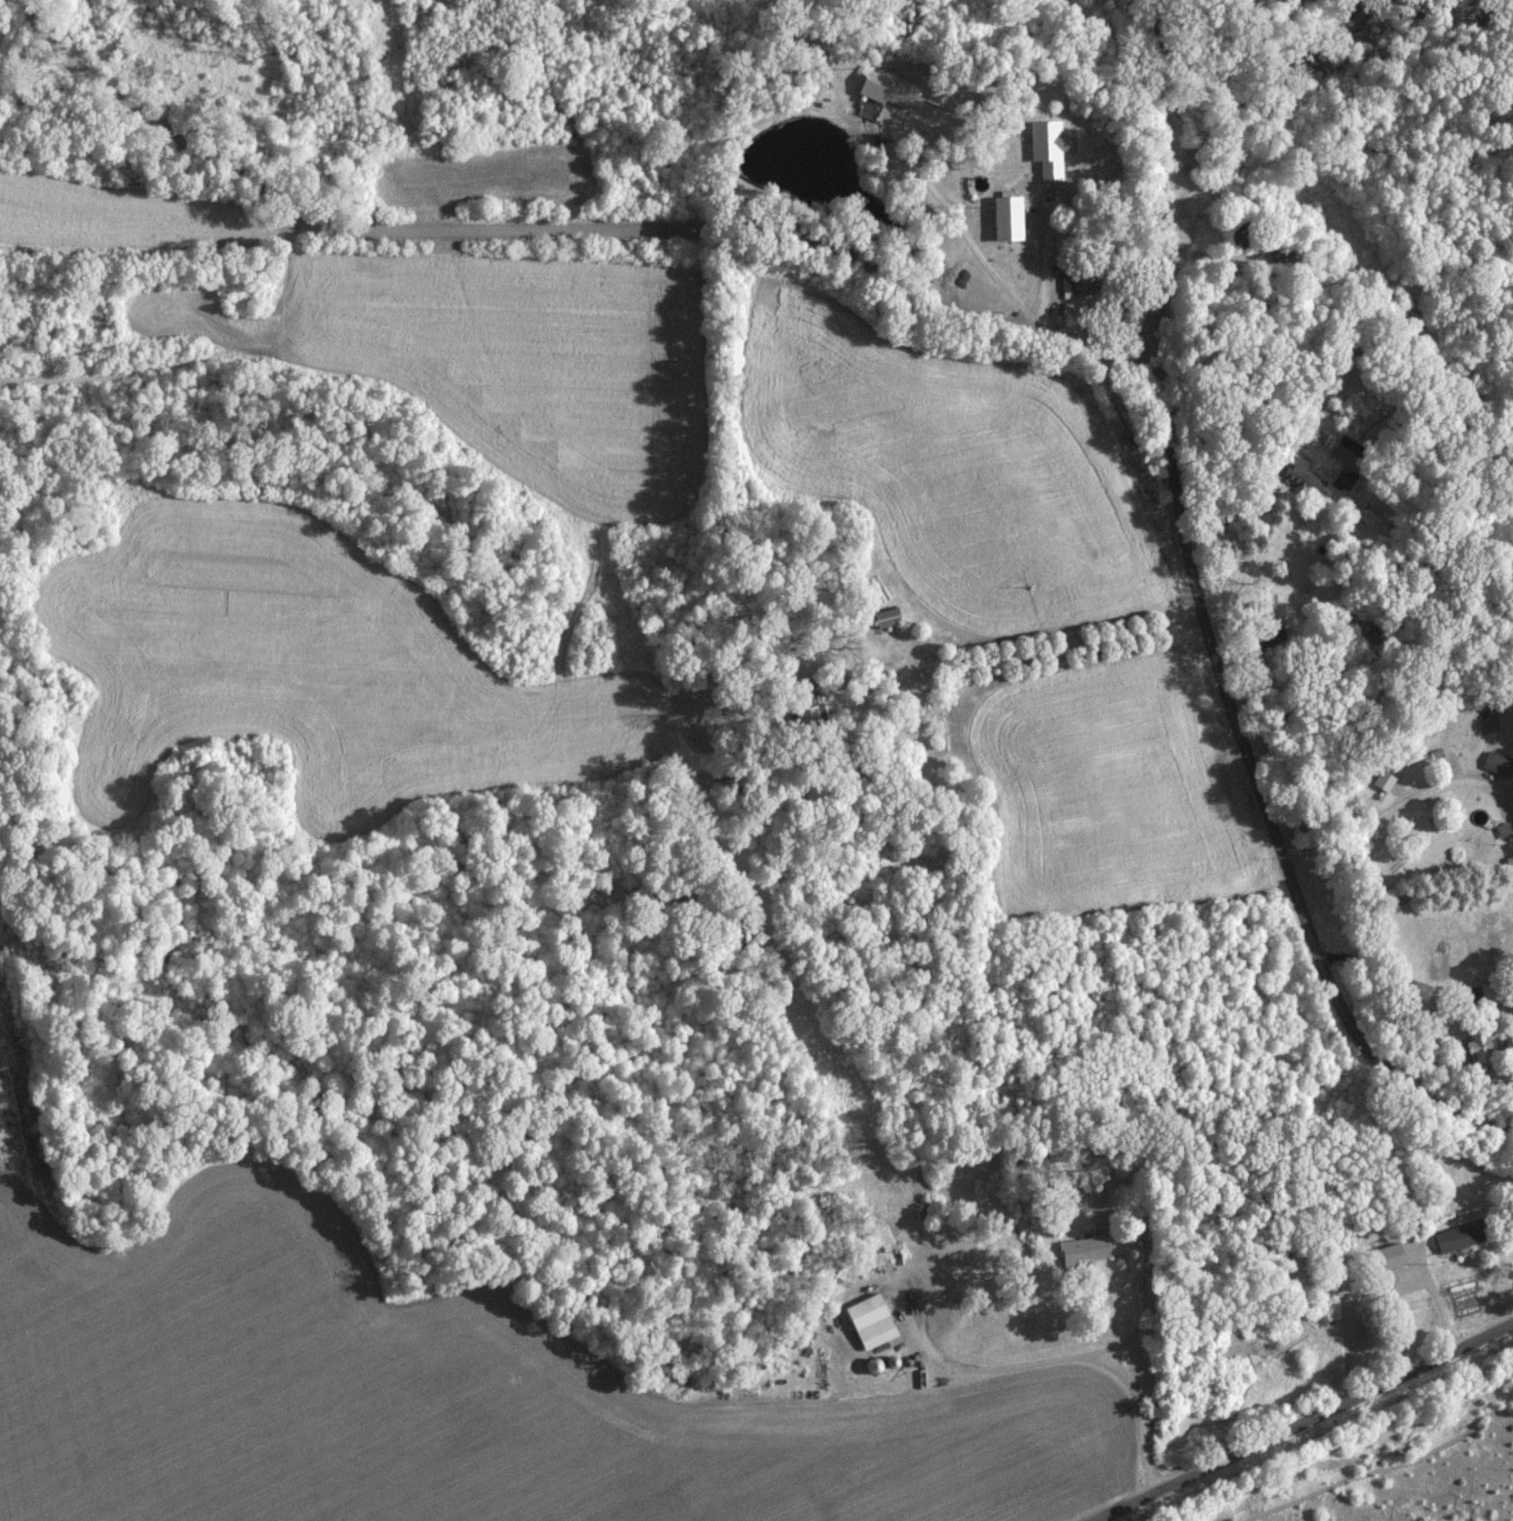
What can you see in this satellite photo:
road: (564, 230)
road: (1206, 623)
road: (1047, 650)
road: (1439, 1299)
road: (1062, 1358)
road: (1297, 1420)

